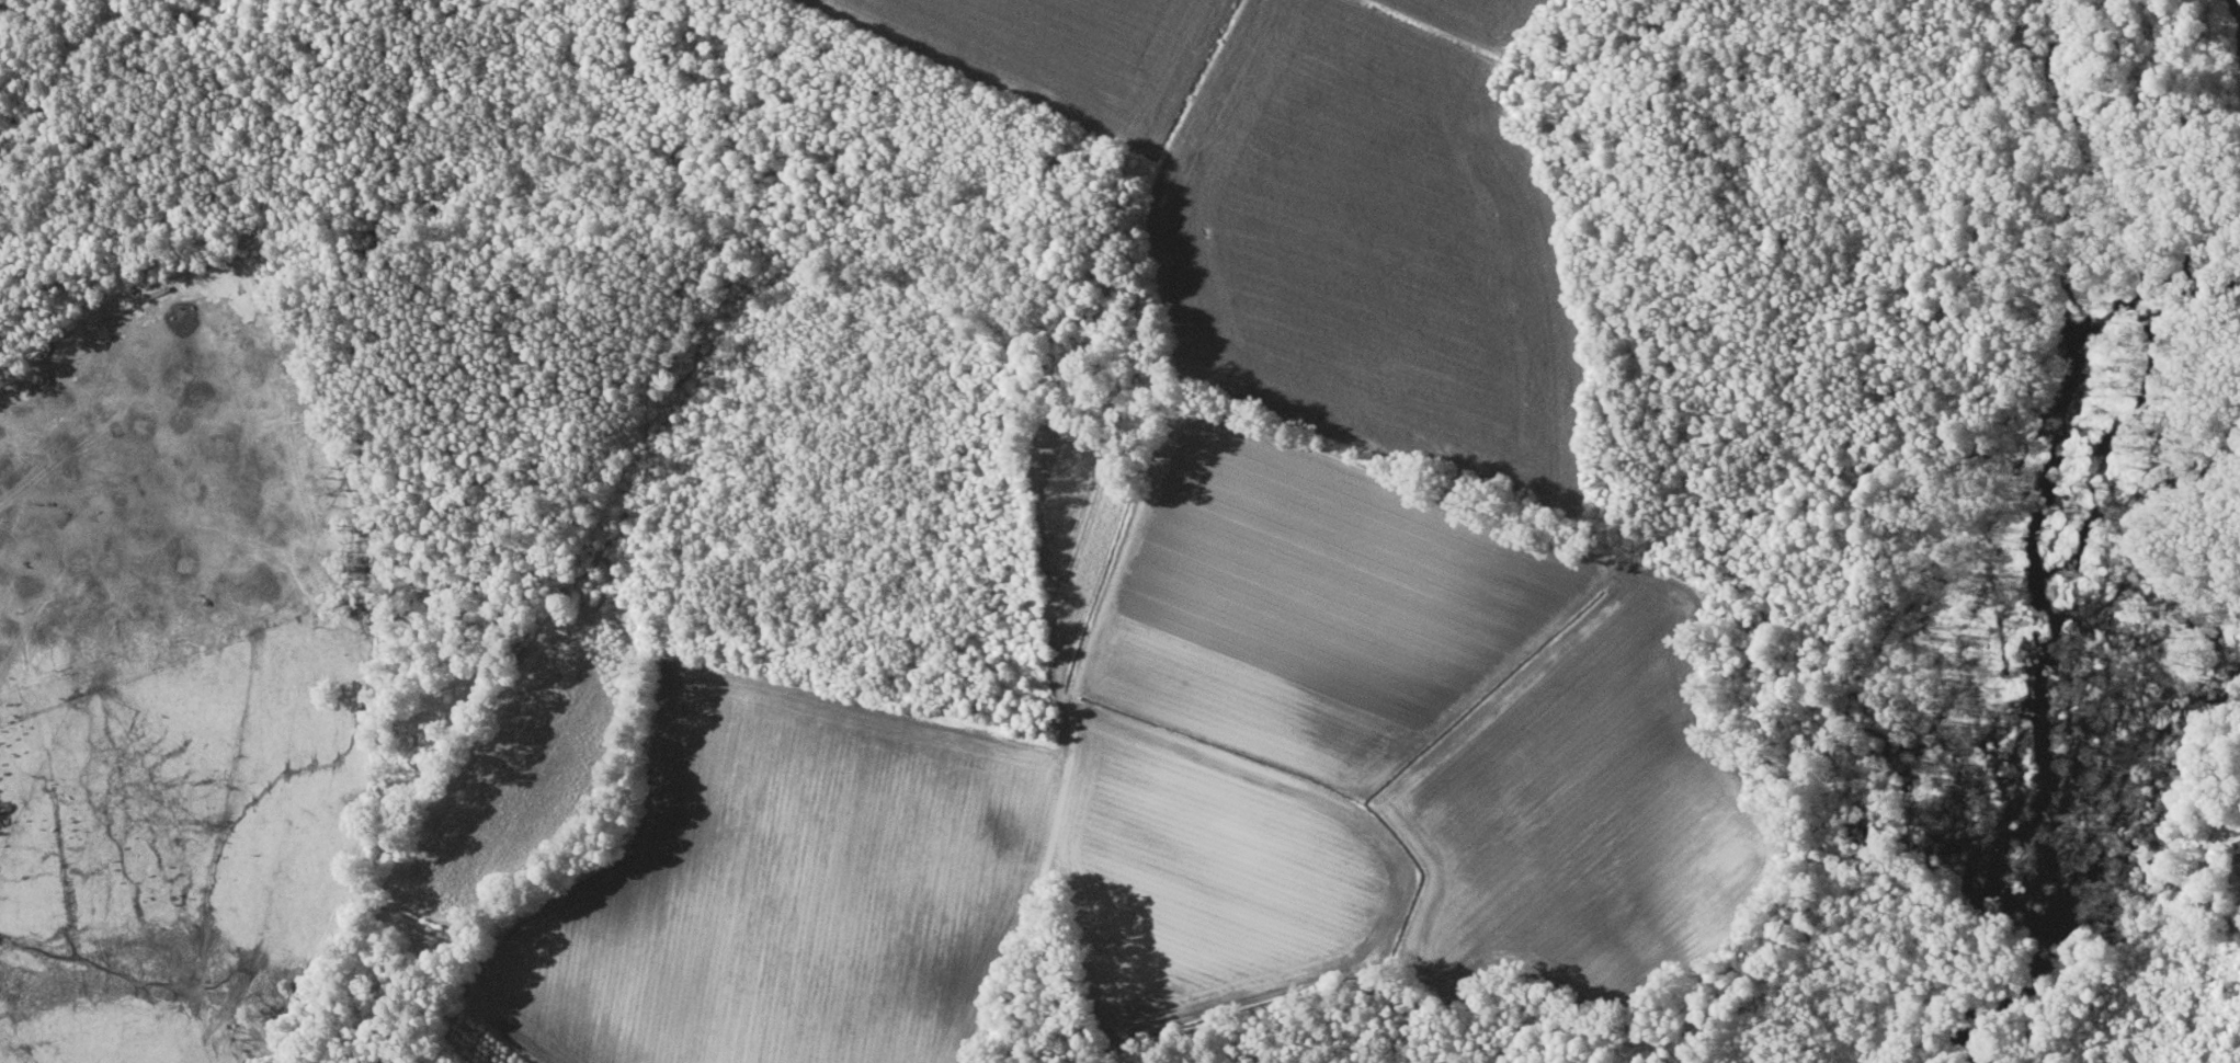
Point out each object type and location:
building: (2238, 843)

